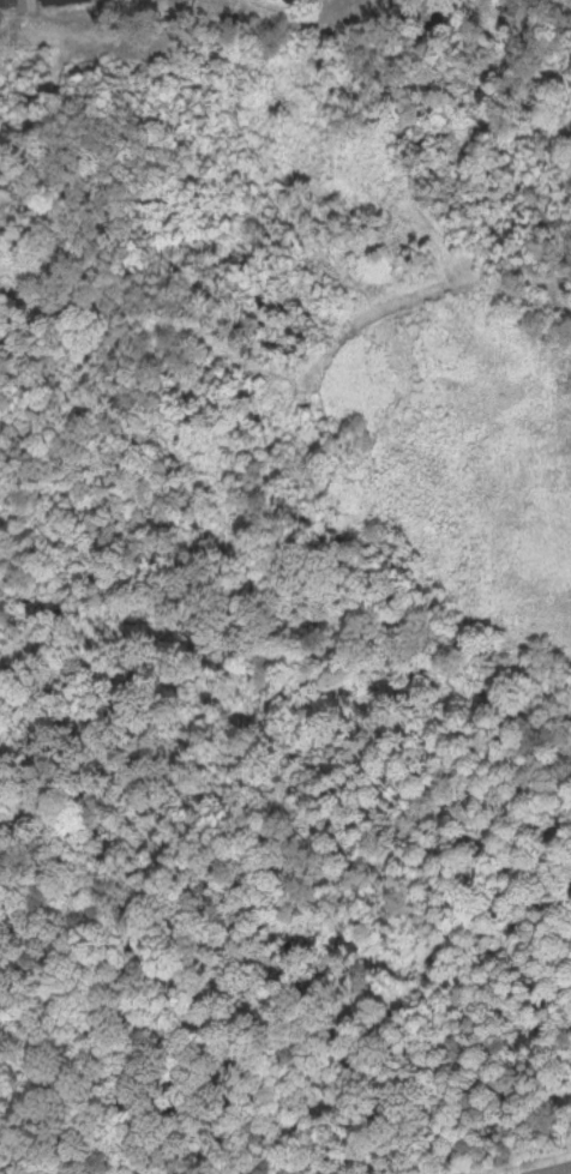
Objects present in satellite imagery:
building: (60, 0)
building: (8, 1)

